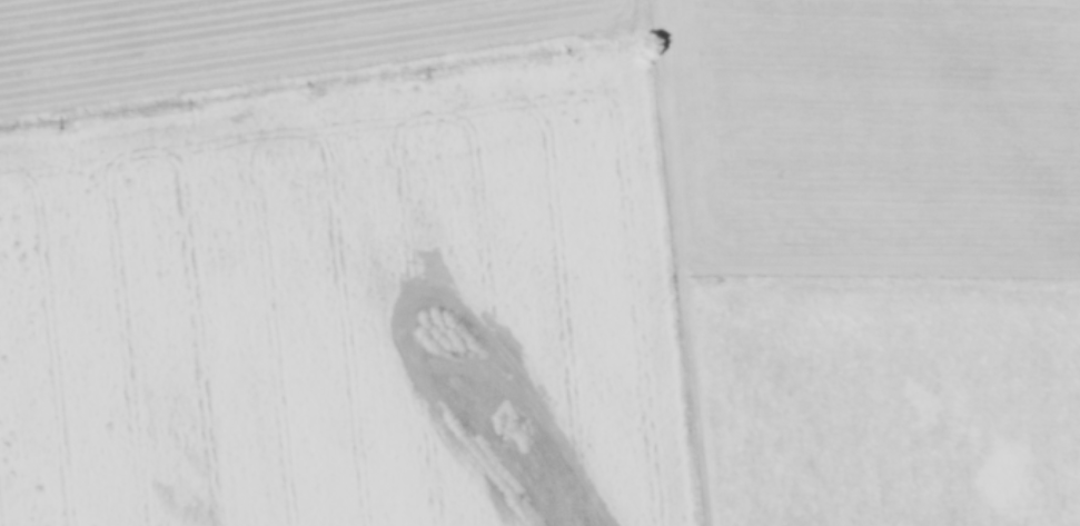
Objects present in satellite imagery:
crop: (539, 262)

